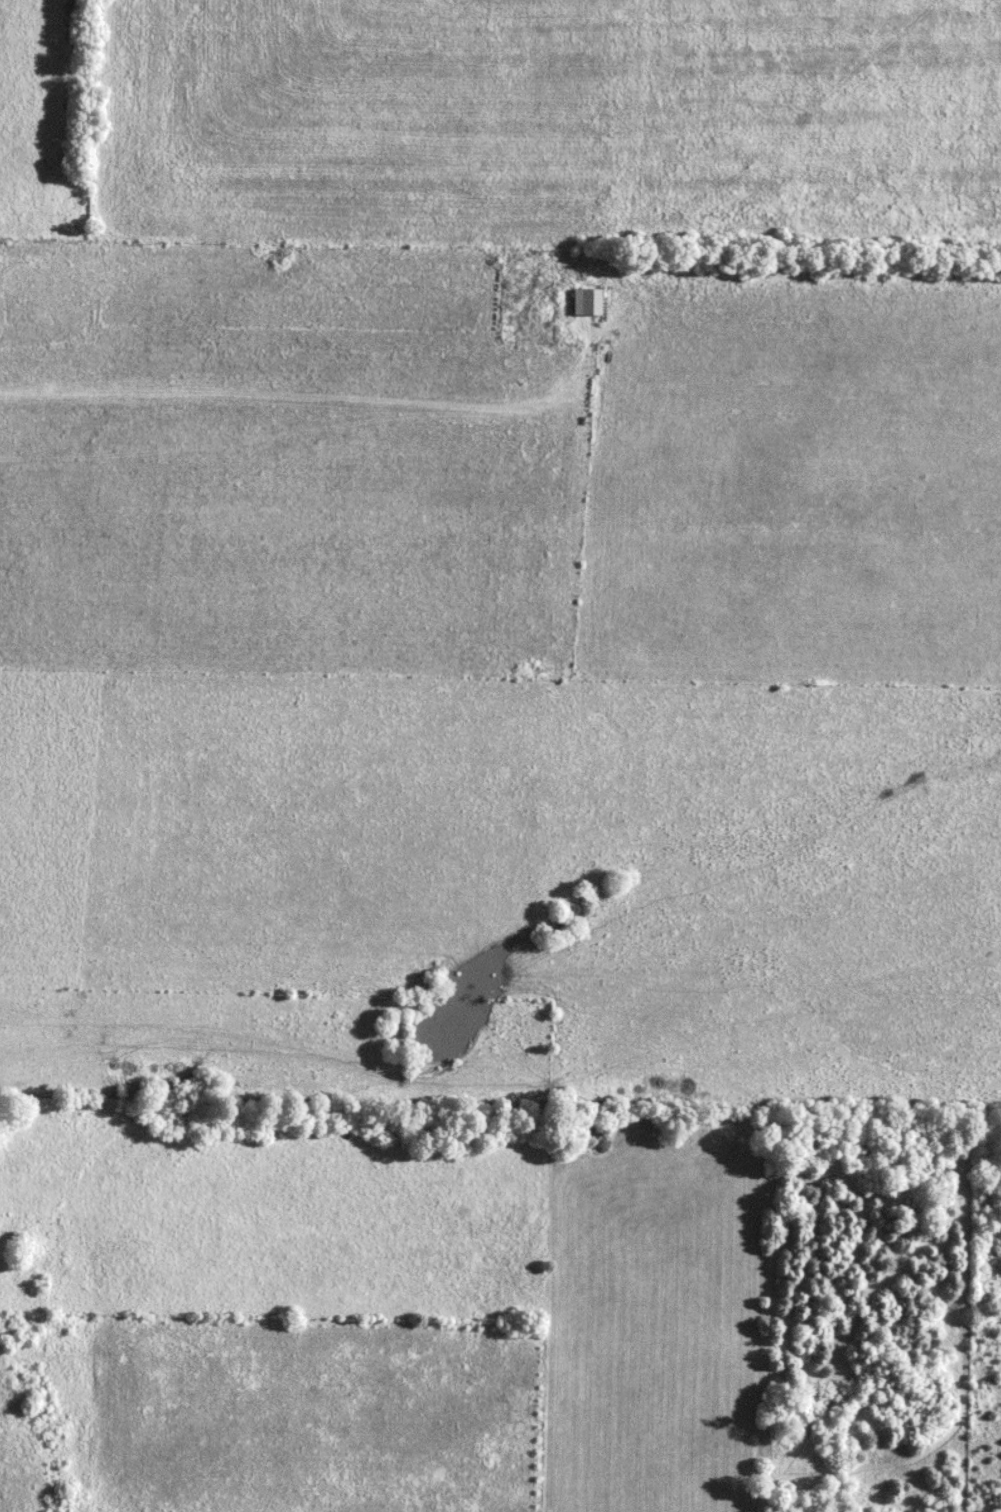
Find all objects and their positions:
building: (584, 302)

